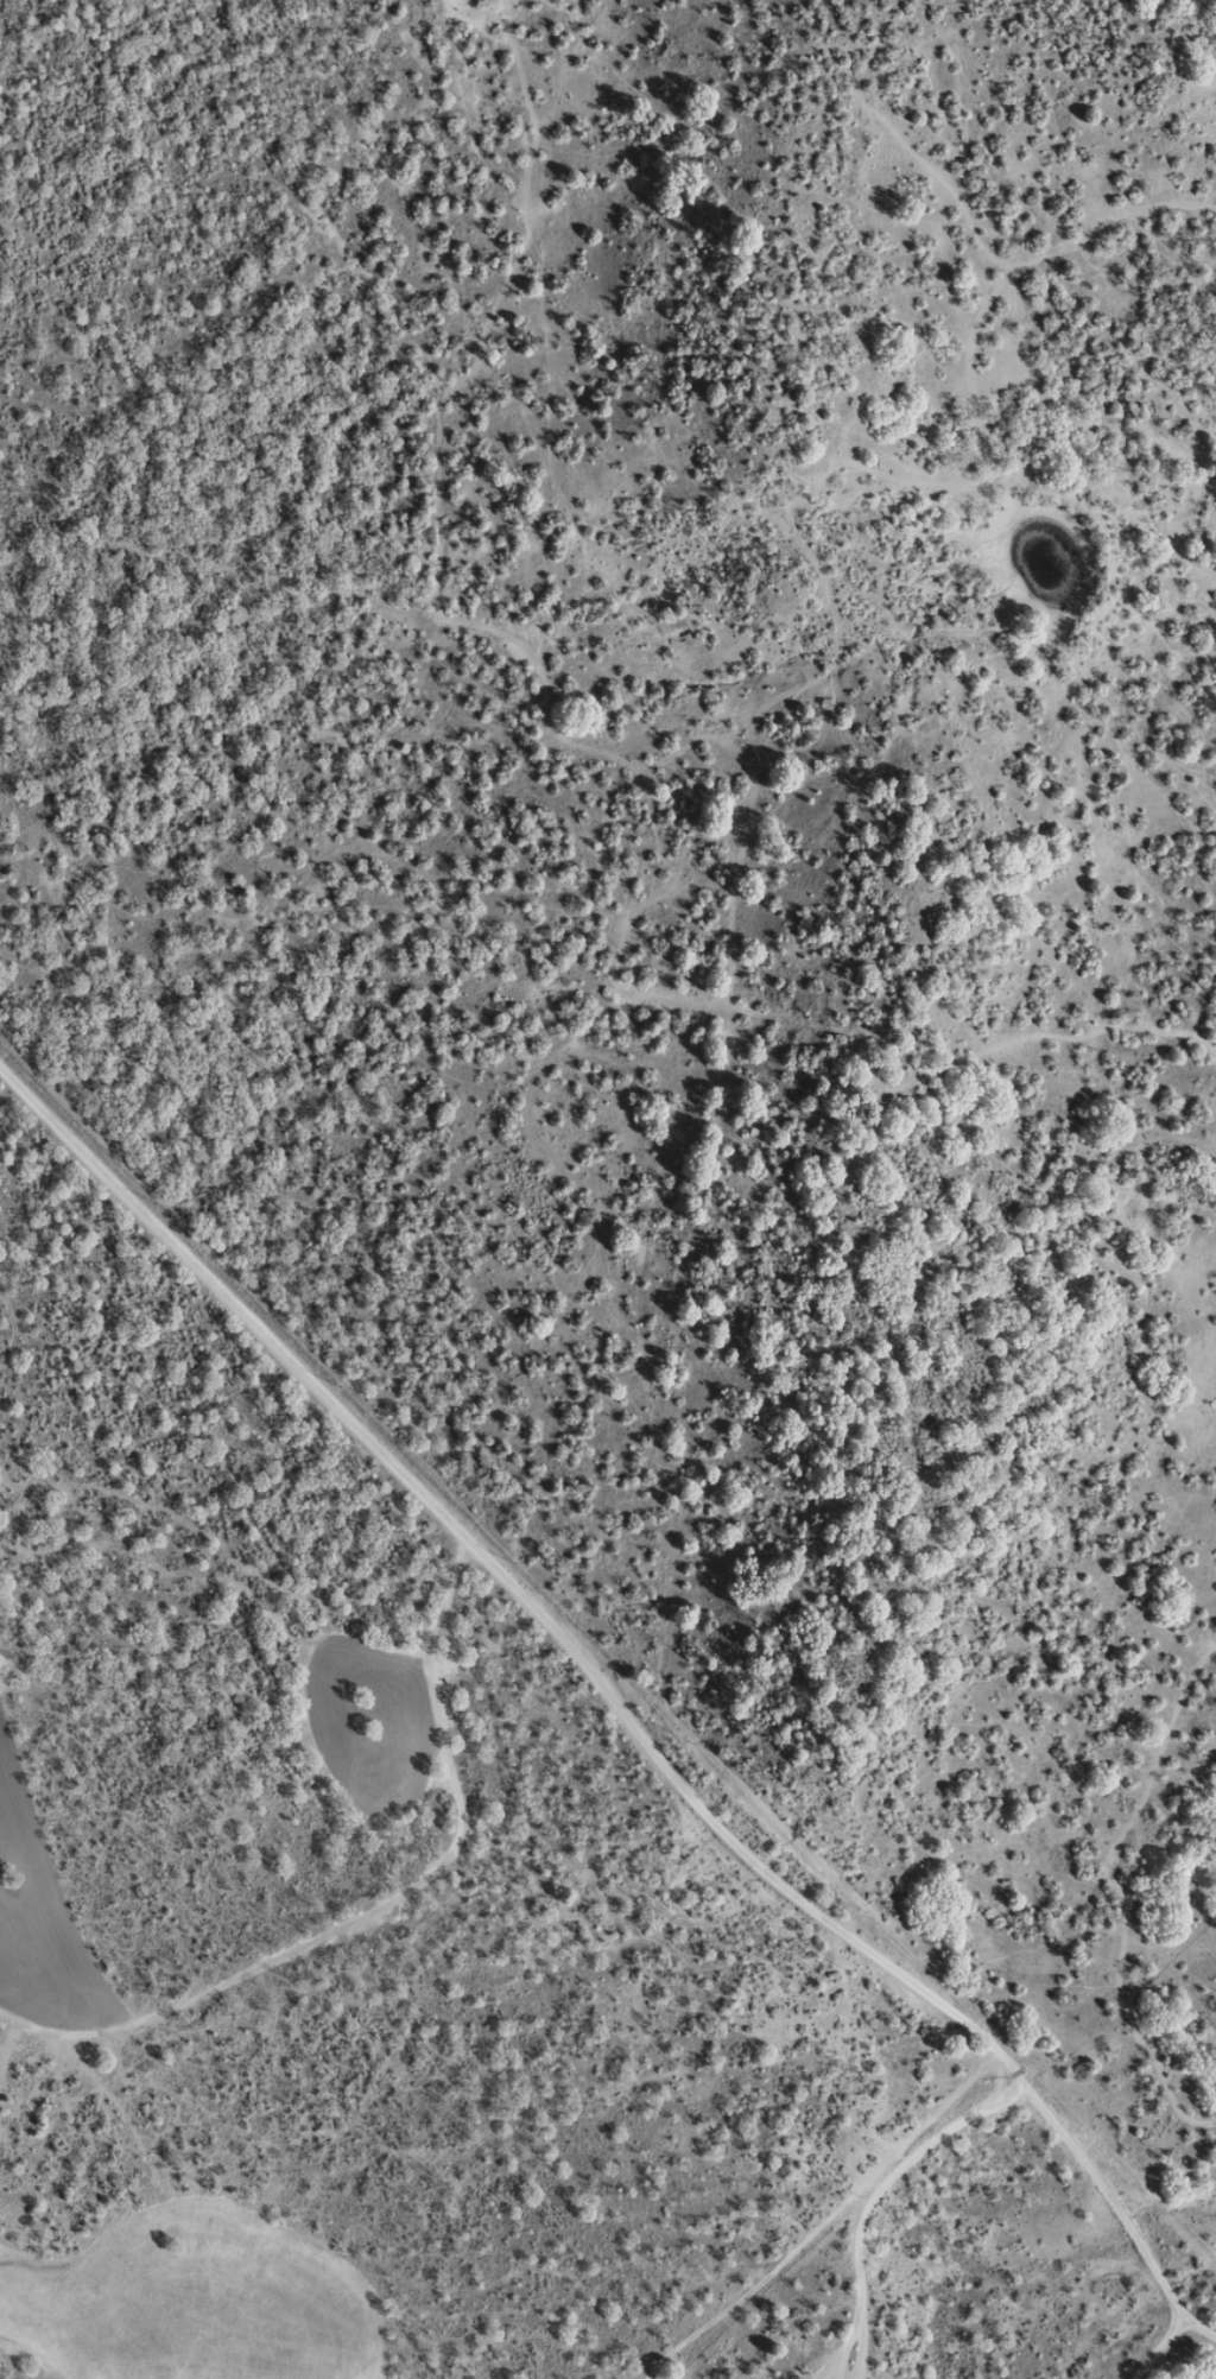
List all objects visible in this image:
road: (608, 1714)
road: (1085, 2308)

